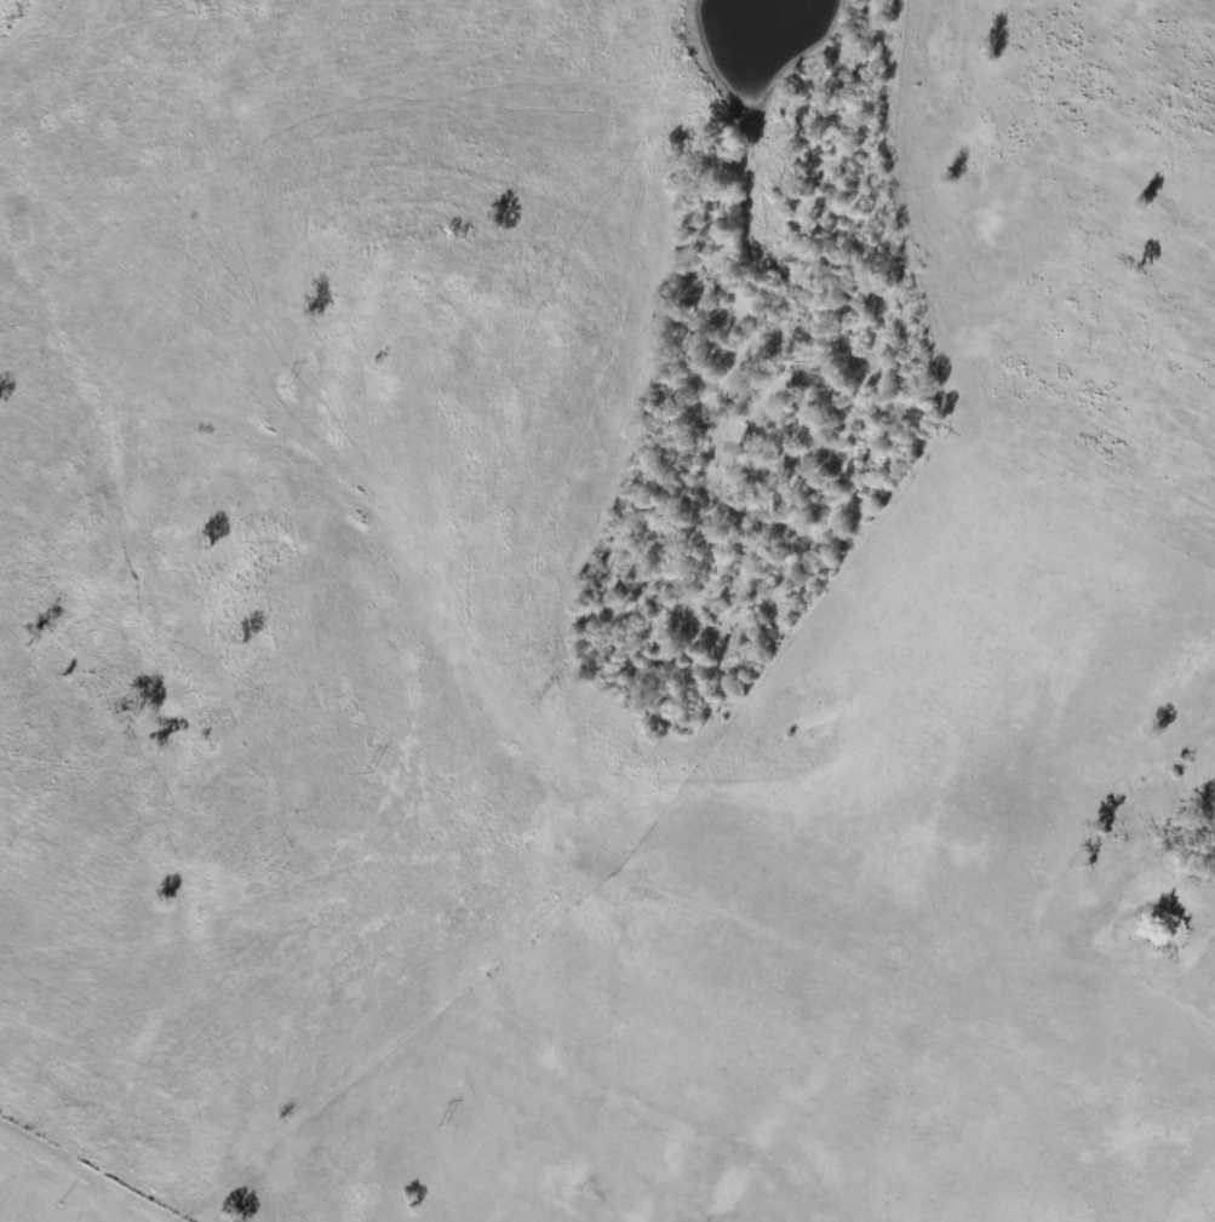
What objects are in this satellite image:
power tower: (205, 0)
power tower: (282, 385)
power tower: (365, 773)
power tower: (443, 1126)

